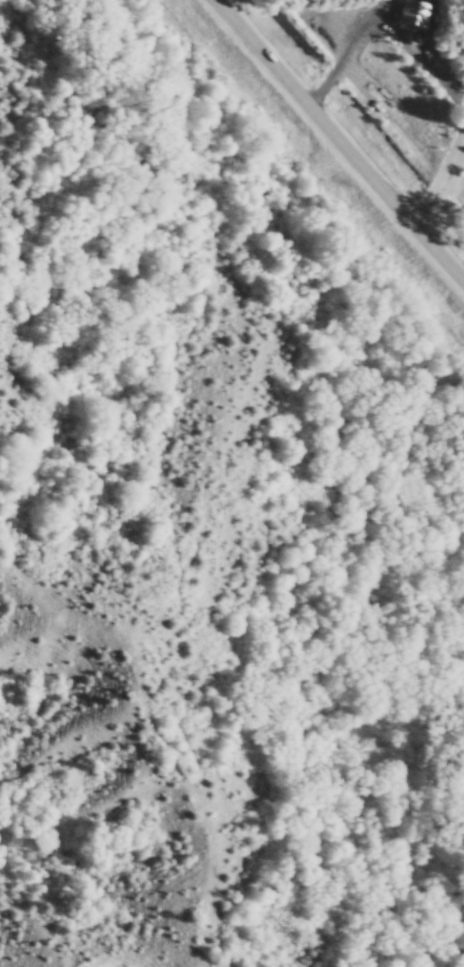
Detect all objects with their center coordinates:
road: (378, 21)
road: (336, 143)
road: (438, 175)

